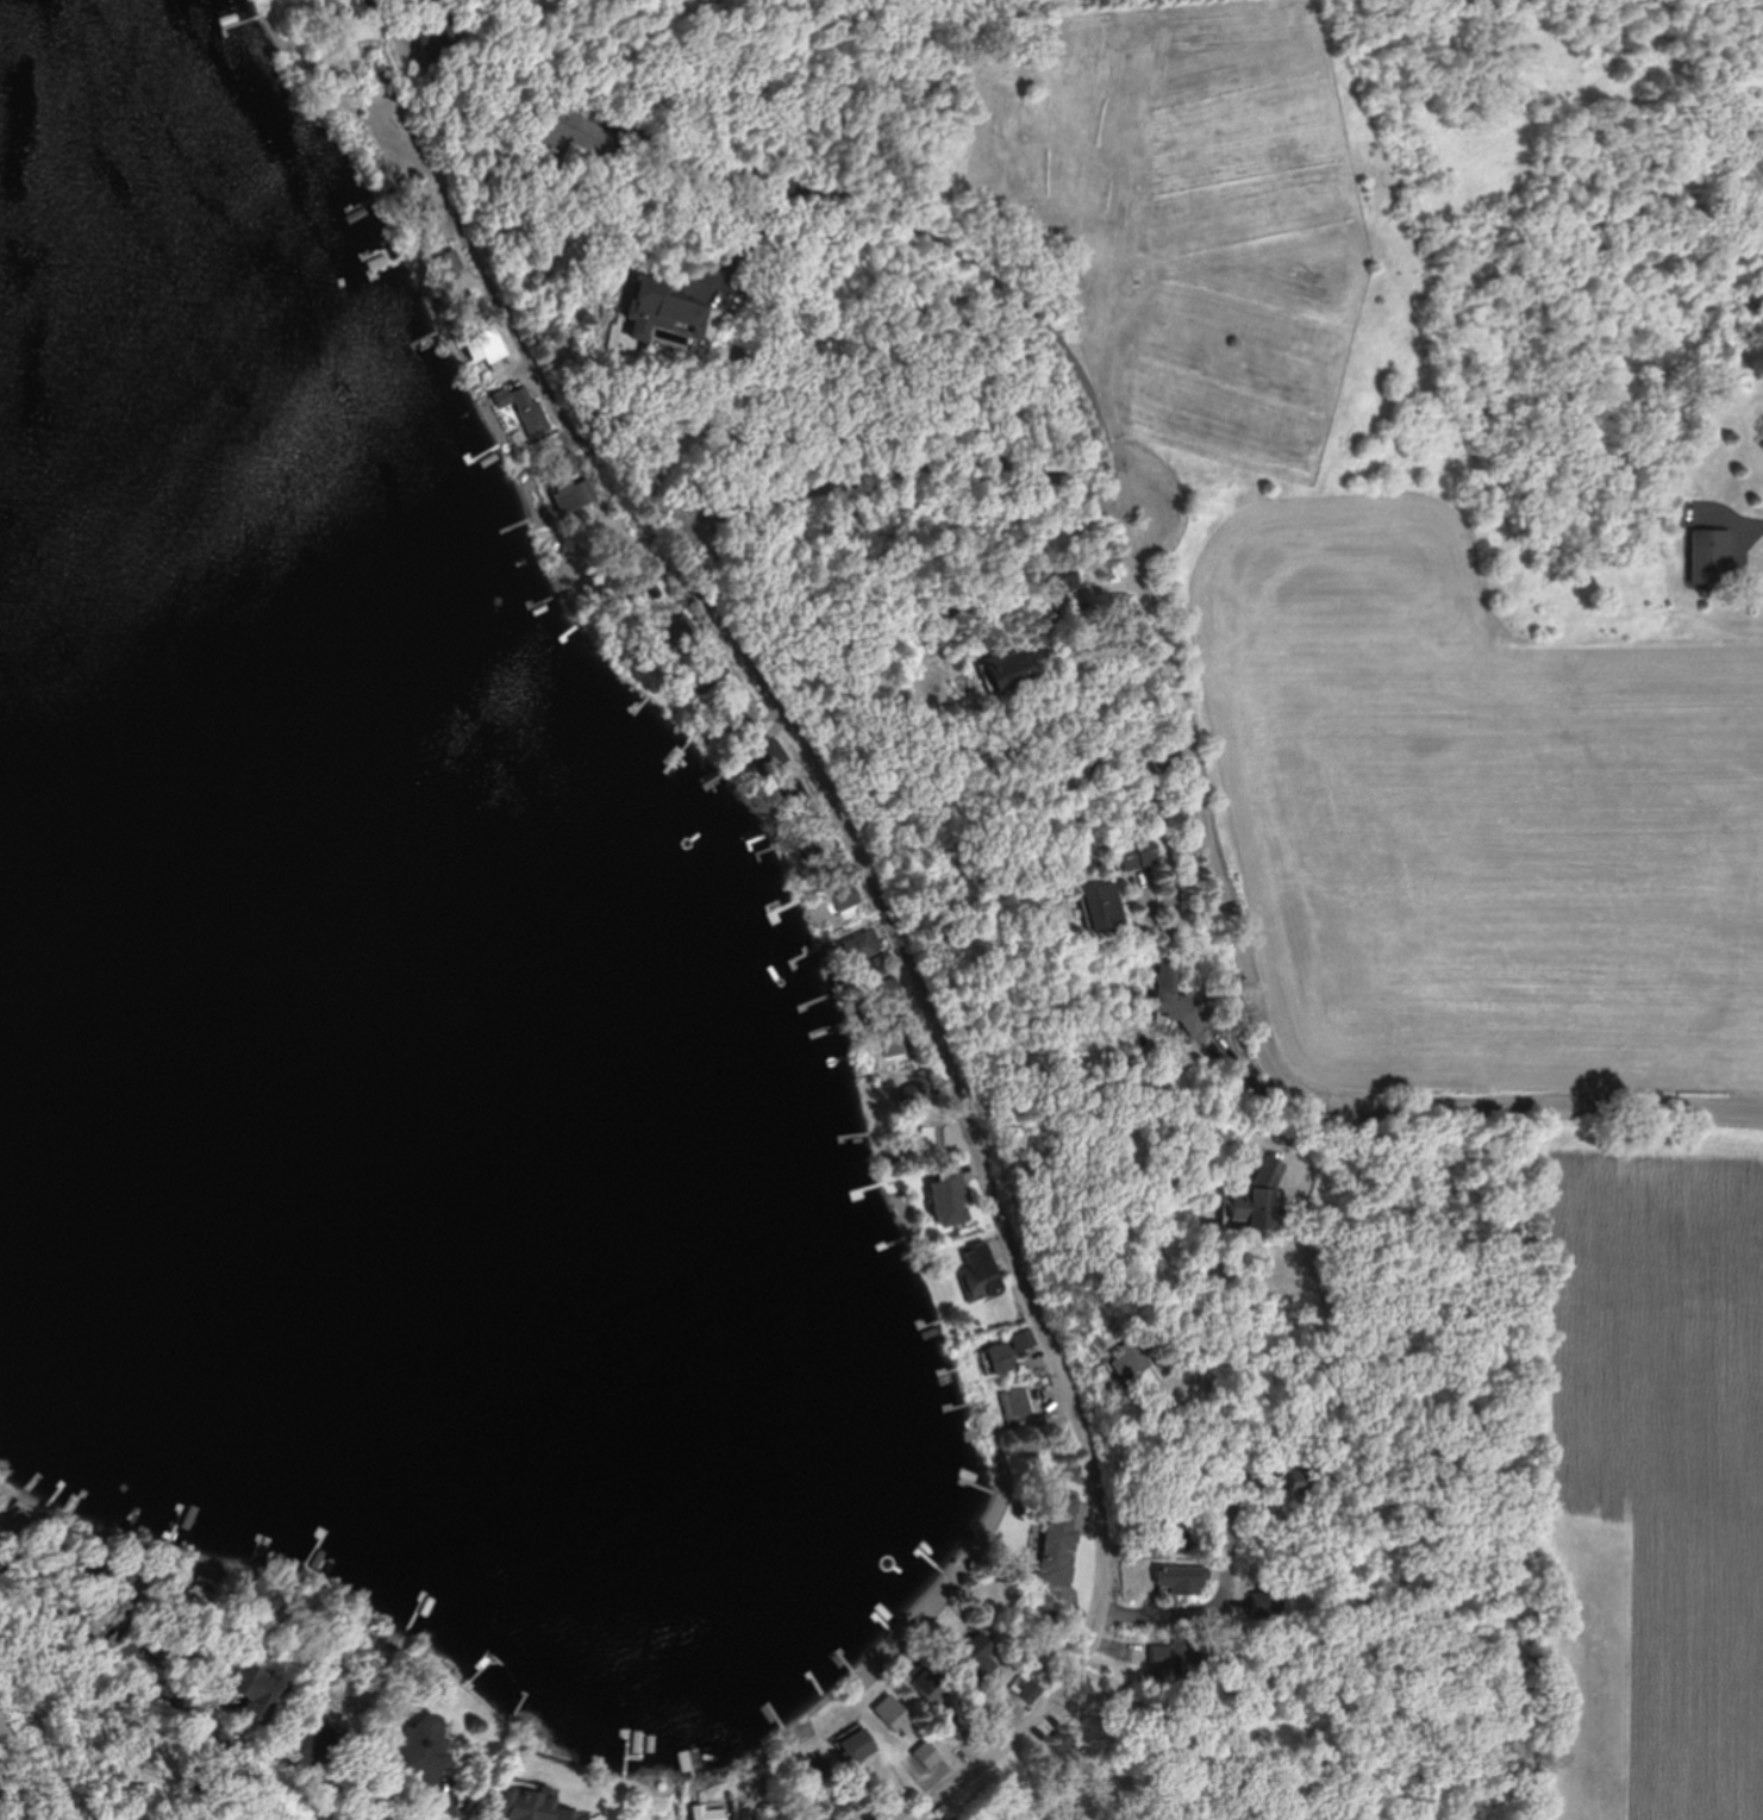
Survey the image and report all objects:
road: (383, 17)
building: (439, 29)
building: (583, 129)
building: (449, 261)
road: (973, 261)
building: (665, 312)
building: (487, 345)
road: (905, 470)
building: (579, 493)
building: (1712, 553)
building: (1065, 577)
building: (683, 628)
building: (1011, 669)
building: (709, 673)
building: (744, 713)
building: (771, 755)
building: (800, 800)
building: (1140, 852)
building: (818, 853)
building: (846, 896)
building: (1105, 905)
building: (864, 945)
road: (918, 971)
building: (889, 989)
building: (1180, 999)
road: (1261, 1036)
building: (898, 1043)
building: (912, 1094)
building: (948, 1171)
building: (1259, 1197)
building: (980, 1272)
building: (1023, 1340)
building: (1001, 1357)
building: (1130, 1361)
building: (1017, 1403)
building: (1309, 1477)
building: (26, 1526)
road: (1240, 1544)
building: (1274, 1603)
road: (1169, 1612)
building: (977, 1656)
building: (1200, 1660)
building: (926, 1684)
road: (162, 1685)
building: (1025, 1688)
building: (256, 1691)
building: (893, 1712)
building: (959, 1730)
building: (1065, 1741)
building: (855, 1744)
building: (927, 1753)
building: (811, 1772)
road: (38, 1774)
building: (529, 1805)
building: (709, 1813)
building: (574, 1815)
building: (951, 1818)

